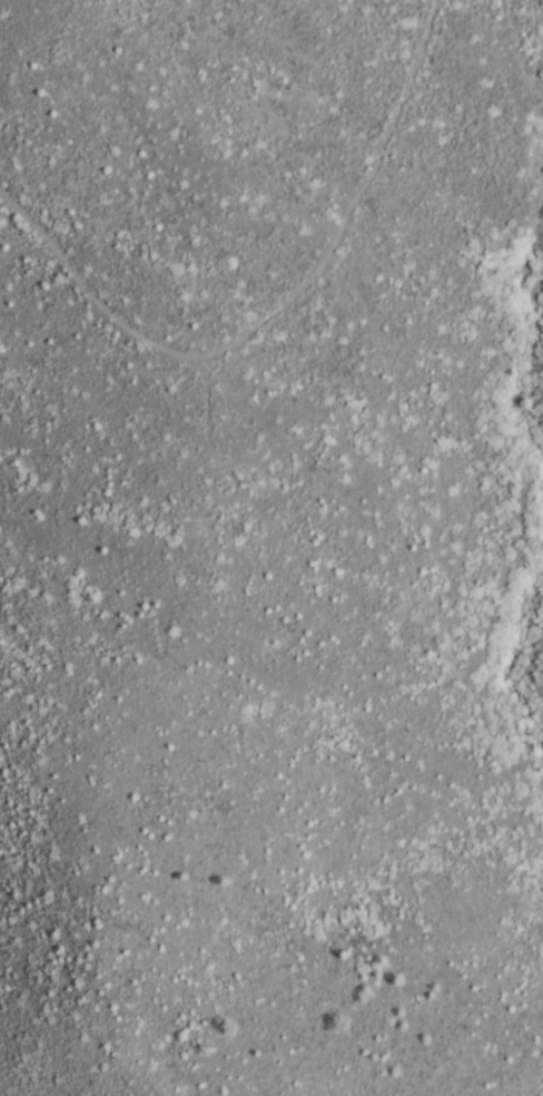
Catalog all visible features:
road: (275, 315)

